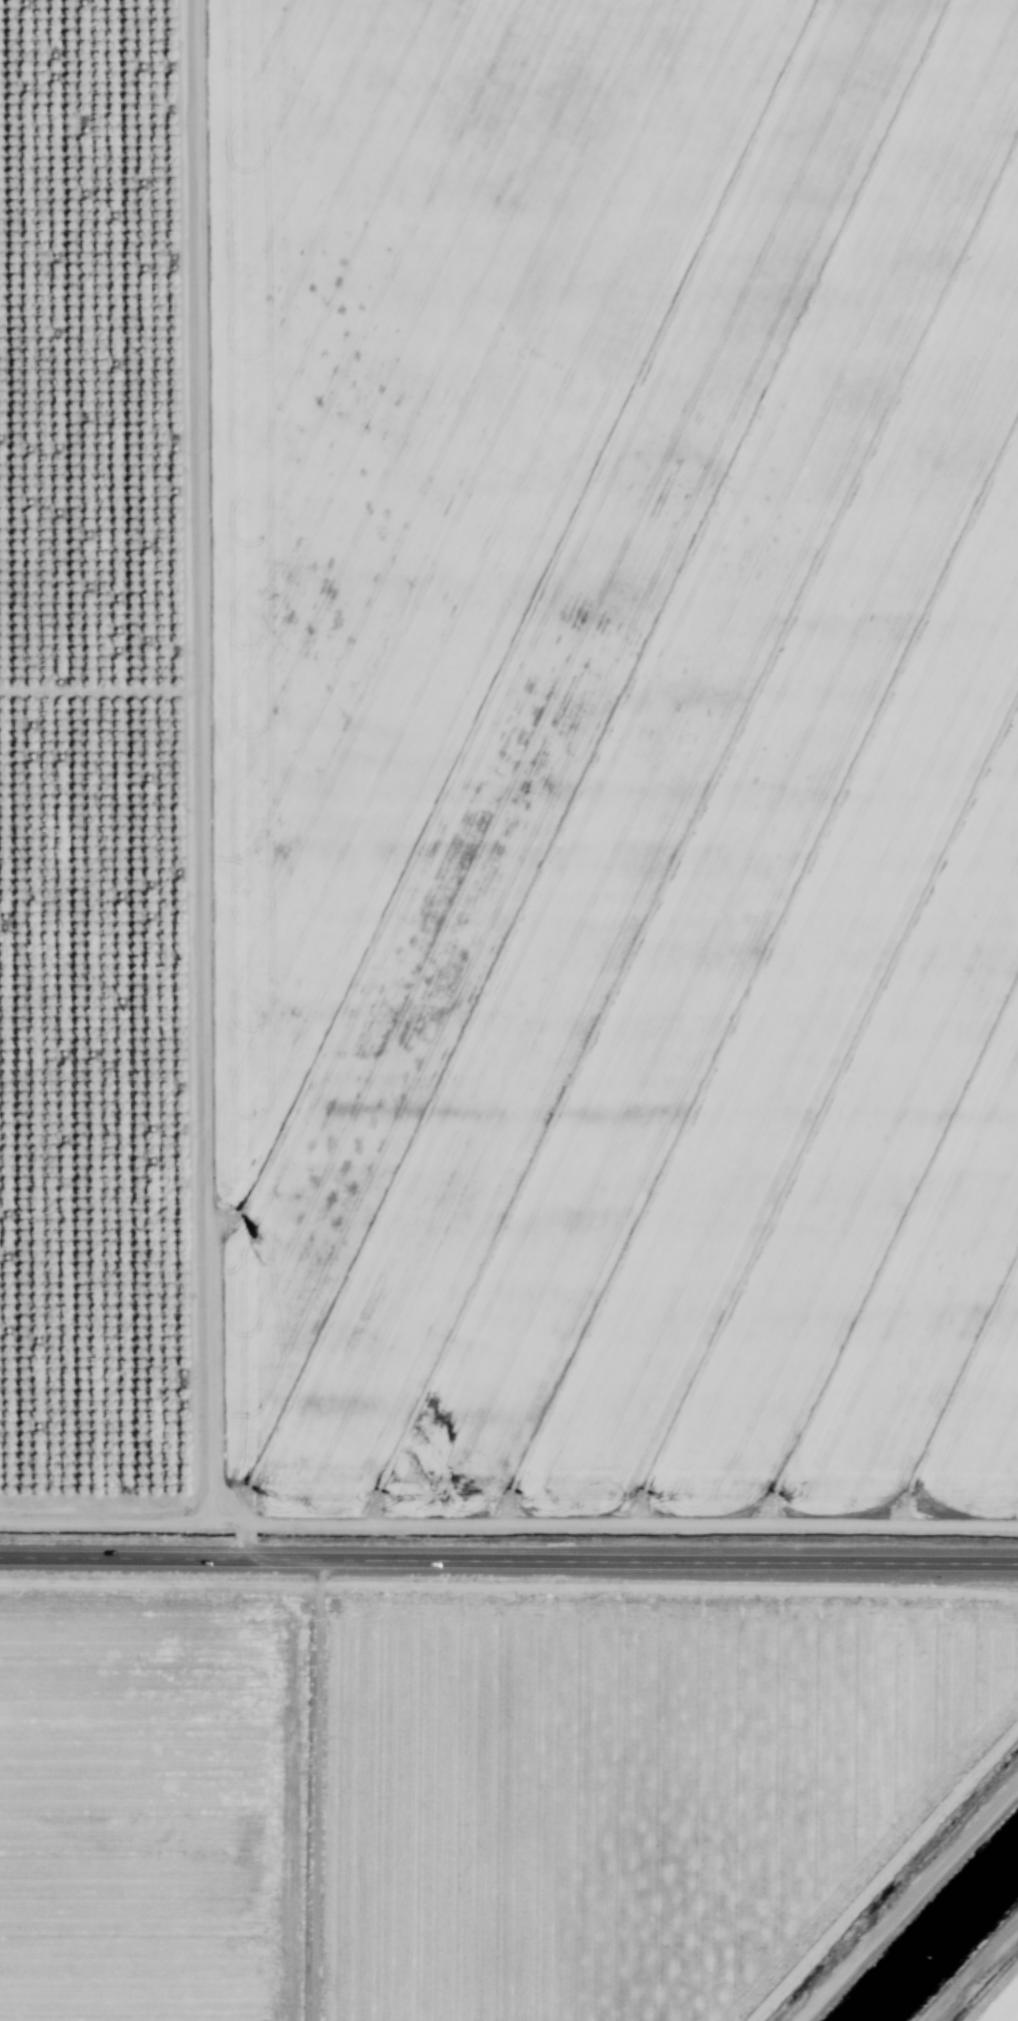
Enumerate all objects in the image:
road: (508, 1564)
road: (970, 1970)

